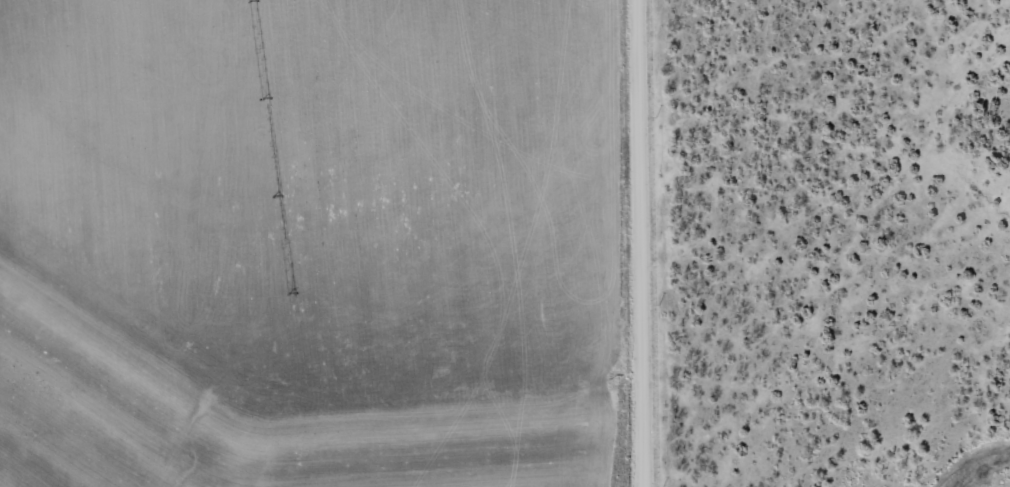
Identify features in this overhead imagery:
road: (642, 243)

